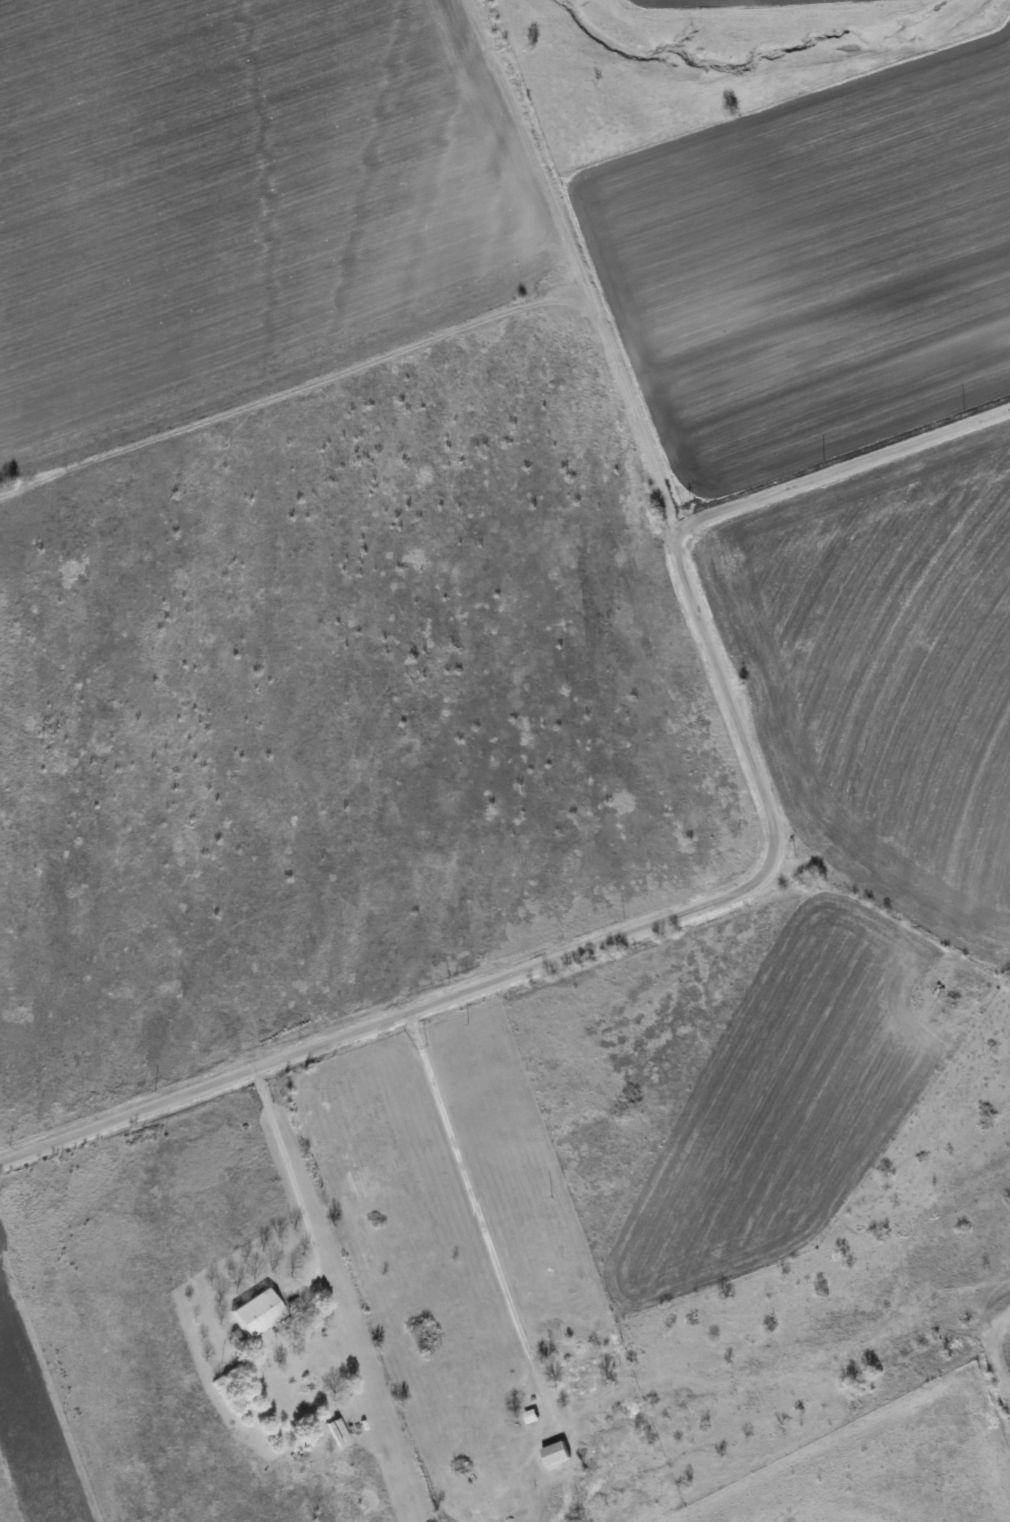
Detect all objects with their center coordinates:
road: (722, 900)
road: (476, 1206)
building: (262, 1311)
building: (550, 1453)

